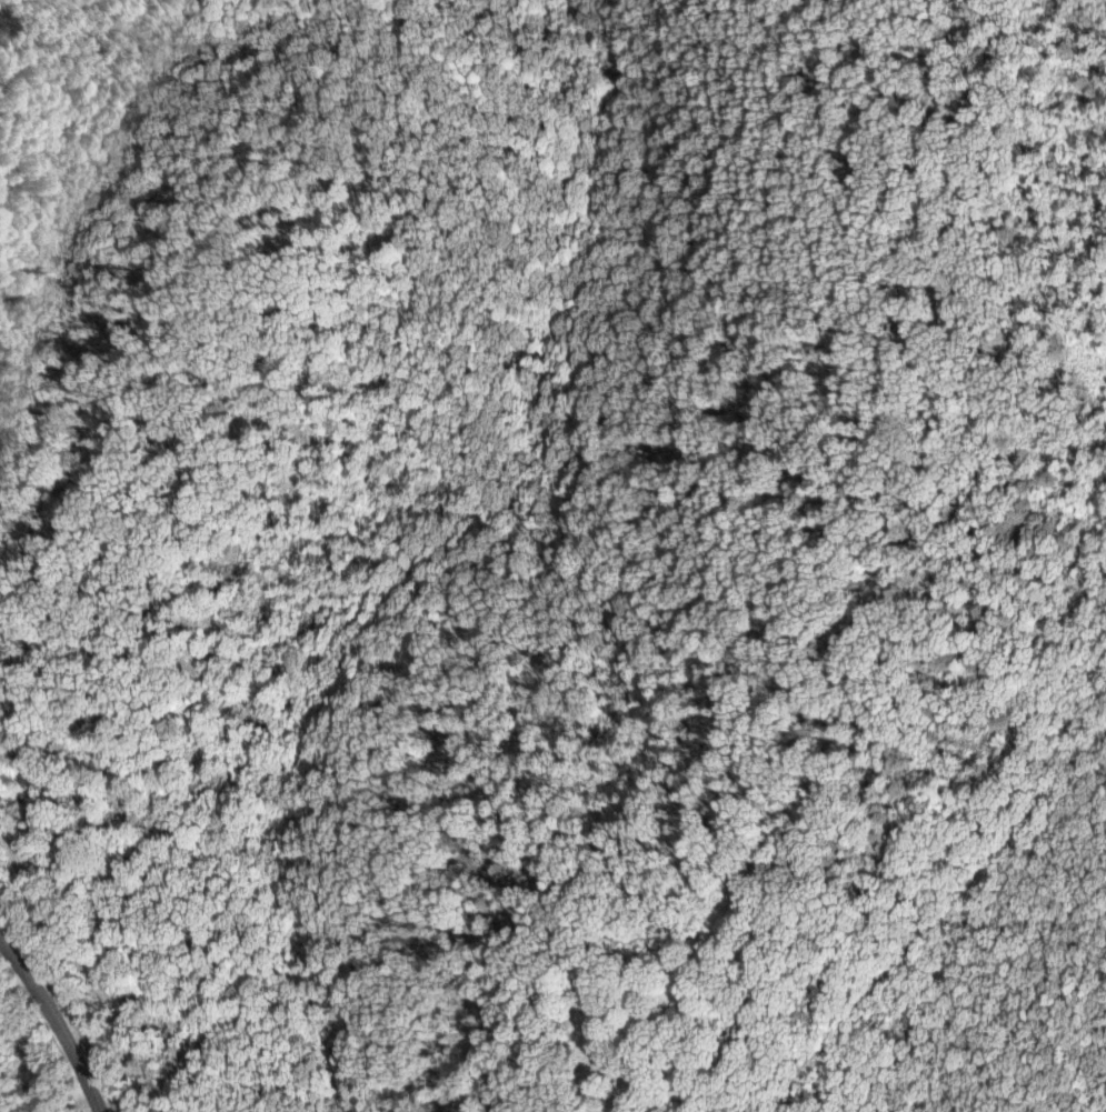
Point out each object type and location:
road: (56, 1026)
road: (88, 1103)

